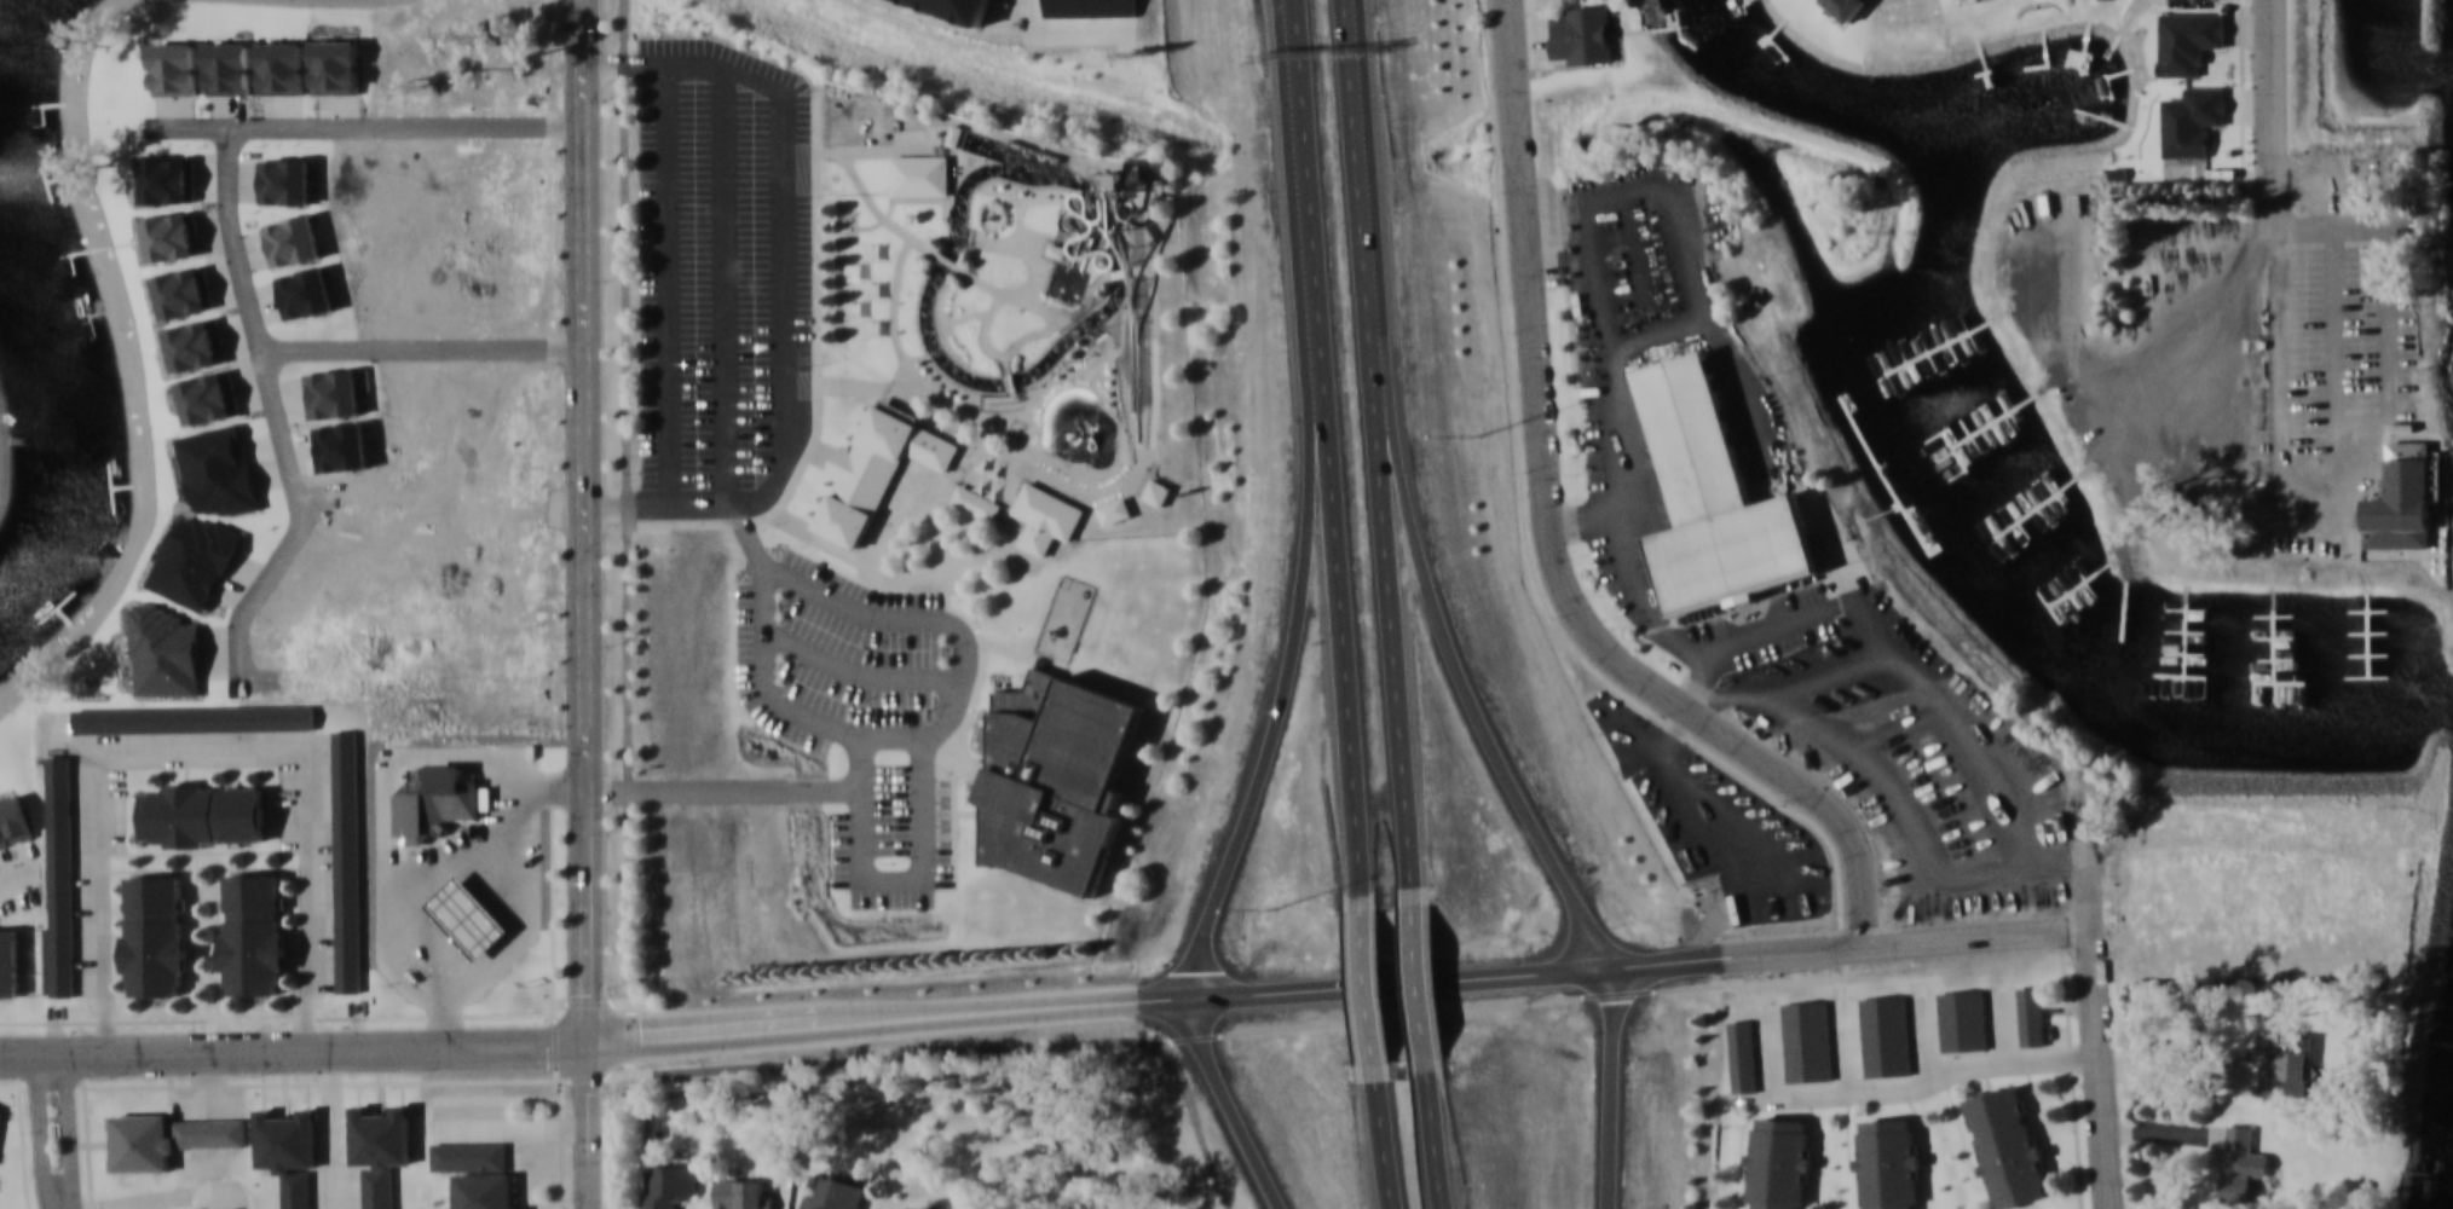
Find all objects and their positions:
building: (963, 7)
building: (1846, 7)
building: (1092, 8)
road: (1033, 15)
road: (1298, 24)
building: (1583, 34)
building: (2189, 42)
road: (624, 65)
building: (2193, 122)
road: (358, 126)
building: (956, 135)
road: (804, 149)
road: (877, 149)
road: (1357, 156)
building: (920, 174)
road: (1026, 192)
road: (1310, 192)
road: (911, 198)
road: (877, 210)
road: (1020, 220)
road: (850, 225)
road: (992, 229)
road: (1148, 229)
road: (2274, 230)
building: (1058, 248)
road: (1025, 250)
road: (948, 258)
road: (1124, 270)
parking lot: (722, 277)
road: (723, 285)
water park: (1020, 305)
road: (1040, 305)
road: (977, 313)
road: (255, 319)
road: (943, 324)
road: (1034, 332)
road: (987, 345)
road: (1113, 346)
road: (425, 347)
road: (1063, 354)
road: (1155, 368)
road: (816, 375)
road: (1012, 380)
road: (835, 382)
road: (1126, 387)
road: (1037, 388)
road: (950, 401)
road: (994, 403)
street lamp: (1483, 433)
building: (877, 469)
road: (1104, 475)
road: (1122, 476)
building: (1158, 491)
road: (441, 492)
building: (1718, 496)
road: (762, 498)
road: (627, 505)
building: (2403, 507)
building: (1114, 510)
building: (1046, 516)
road: (585, 521)
road: (627, 521)
road: (748, 536)
road: (1014, 539)
road: (1551, 544)
road: (989, 551)
road: (934, 556)
road: (871, 561)
road: (894, 582)
road: (1391, 604)
road: (848, 606)
building: (924, 614)
road: (1343, 619)
road: (1021, 653)
road: (1449, 653)
building: (791, 660)
building: (970, 672)
road: (859, 673)
road: (1289, 675)
road: (962, 679)
road: (312, 695)
road: (781, 704)
parking lot: (864, 711)
building: (195, 718)
road: (956, 733)
road: (204, 754)
road: (966, 762)
building: (1129, 773)
building: (1060, 775)
road: (723, 789)
road: (951, 812)
building: (203, 814)
building: (12, 821)
road: (2235, 834)
road: (206, 851)
building: (347, 860)
road: (15, 872)
building: (60, 874)
road: (891, 878)
street lamp: (1275, 910)
road: (217, 913)
road: (191, 915)
building: (254, 932)
building: (155, 933)
road: (1980, 941)
building: (8, 960)
road: (1422, 985)
road: (1370, 988)
road: (1513, 1002)
road: (554, 1003)
road: (2097, 1010)
building: (2032, 1016)
road: (206, 1019)
road: (935, 1019)
building: (1963, 1020)
building: (1886, 1036)
building: (1807, 1041)
road: (971, 1049)
building: (1743, 1057)
building: (2288, 1066)
road: (1938, 1078)
road: (298, 1083)
road: (1612, 1087)
road: (1228, 1106)
road: (68, 1126)
road: (587, 1126)
road: (39, 1128)
building: (167, 1138)
road: (1436, 1140)
road: (1384, 1141)
building: (2005, 1145)
building: (380, 1149)
building: (289, 1152)
building: (1780, 1163)
building: (1889, 1163)
building: (2241, 1163)
building: (475, 1173)
building: (670, 1186)
building: (743, 1192)
building: (833, 1192)
road: (62, 1204)
building: (231, 1208)
building: (910, 1208)

